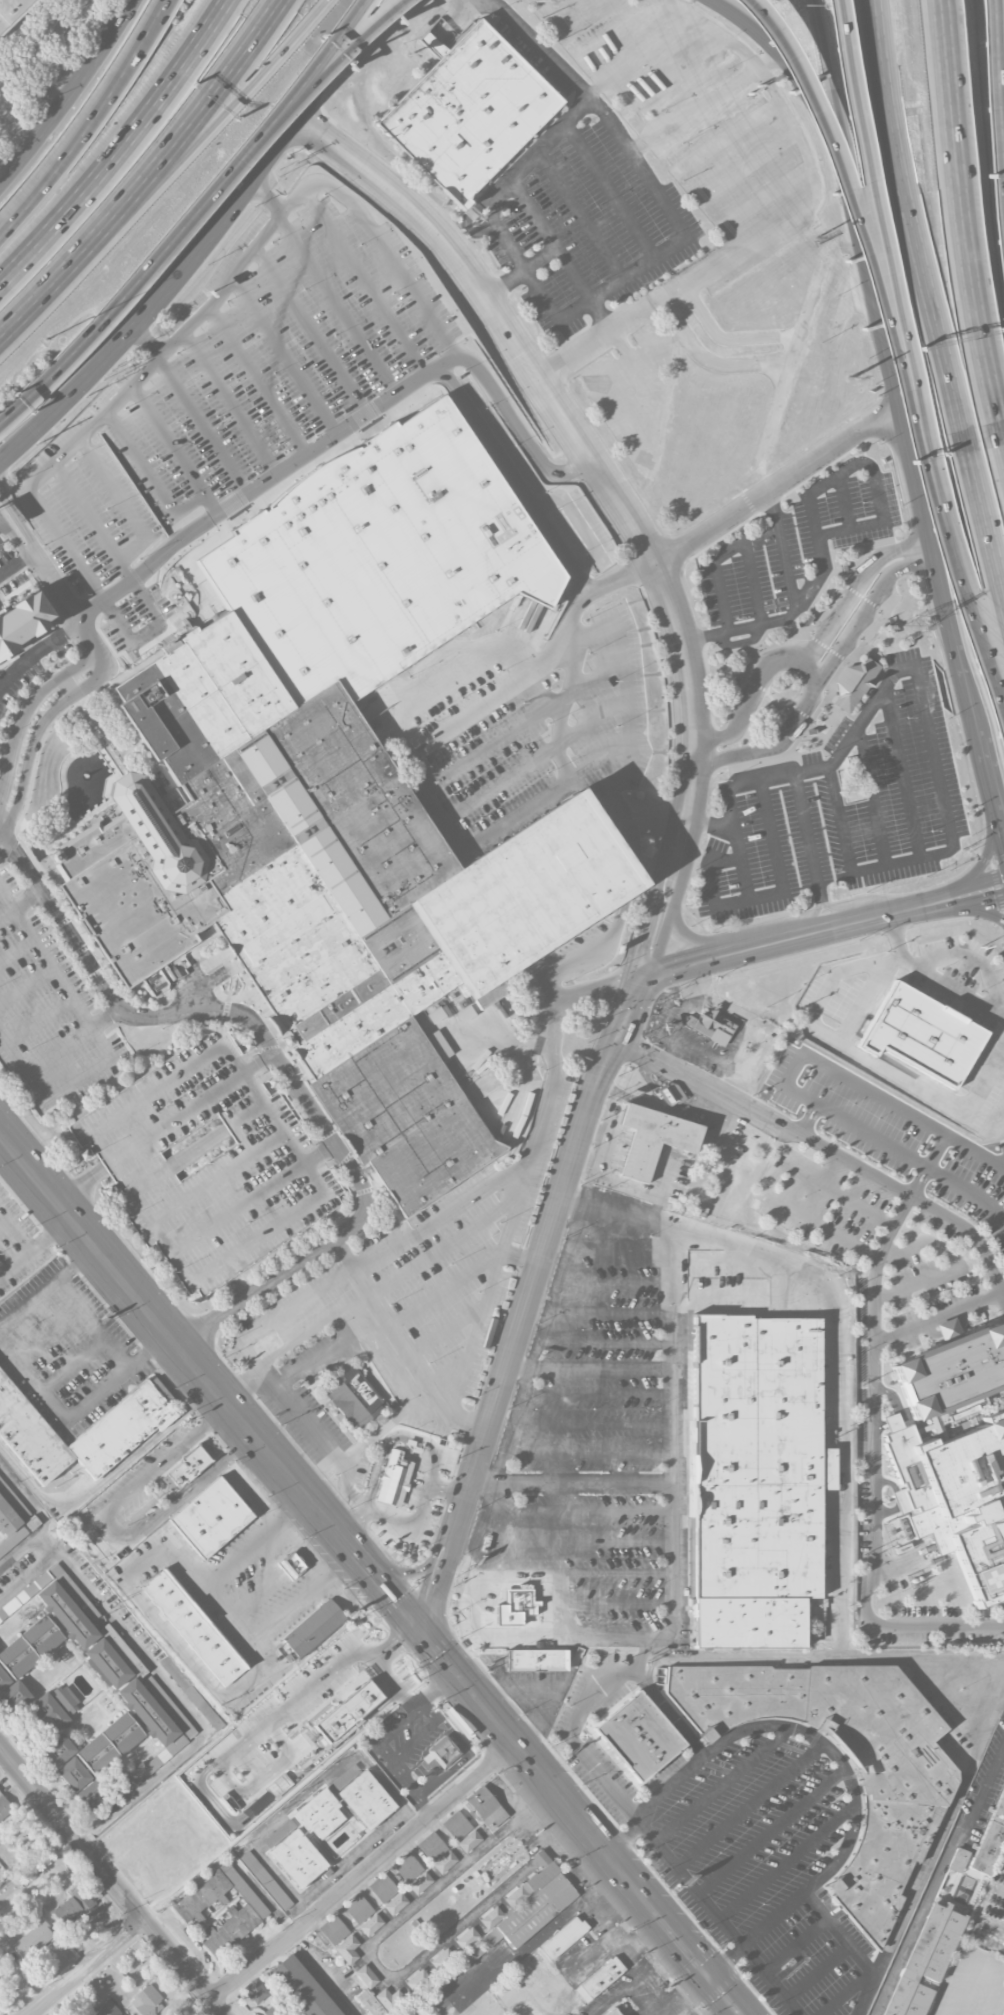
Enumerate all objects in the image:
power tower: (538, 1)
street lamp: (804, 5)
building: (11, 11)
road: (701, 19)
road: (608, 34)
road: (331, 38)
road: (348, 38)
road: (536, 46)
road: (654, 50)
road: (346, 53)
road: (336, 59)
road: (752, 63)
road: (664, 81)
road: (599, 87)
road: (998, 90)
road: (809, 91)
road: (68, 93)
road: (205, 101)
road: (230, 102)
road: (842, 105)
road: (695, 111)
building: (469, 114)
road: (90, 124)
road: (121, 146)
road: (636, 159)
road: (684, 163)
road: (838, 172)
road: (869, 179)
road: (610, 188)
road: (265, 195)
road: (204, 199)
road: (580, 214)
road: (968, 216)
road: (914, 227)
road: (550, 239)
road: (743, 257)
road: (65, 268)
road: (521, 273)
road: (818, 274)
road: (404, 278)
road: (365, 281)
road: (156, 298)
road: (335, 302)
road: (601, 313)
street lamp: (1002, 317)
road: (310, 329)
road: (794, 335)
street lamp: (45, 340)
road: (145, 342)
road: (670, 344)
road: (284, 354)
road: (893, 360)
road: (143, 370)
road: (51, 372)
power tower: (848, 379)
road: (258, 380)
parking lot: (226, 395)
road: (549, 395)
road: (231, 401)
road: (777, 404)
road: (203, 424)
road: (516, 428)
road: (174, 448)
road: (860, 460)
road: (276, 474)
road: (150, 475)
road: (931, 475)
road: (511, 476)
road: (778, 482)
road: (123, 501)
road: (845, 501)
road: (9, 505)
road: (92, 520)
road: (986, 524)
road: (14, 540)
road: (735, 546)
road: (781, 548)
road: (935, 548)
building: (378, 557)
road: (16, 565)
road: (620, 576)
road: (865, 576)
road: (872, 600)
road: (65, 603)
road: (91, 612)
road: (570, 619)
building: (22, 622)
road: (764, 622)
power tower: (912, 629)
road: (147, 630)
road: (38, 651)
road: (984, 653)
road: (564, 656)
road: (559, 661)
road: (102, 662)
road: (574, 664)
road: (962, 665)
road: (814, 669)
road: (467, 671)
road: (522, 673)
building: (853, 684)
road: (752, 696)
road: (924, 698)
road: (560, 708)
road: (28, 712)
parking lot: (525, 718)
road: (590, 722)
road: (34, 742)
road: (772, 748)
road: (477, 752)
road: (694, 752)
road: (600, 756)
road: (903, 771)
road: (989, 776)
road: (587, 787)
road: (690, 791)
road: (483, 793)
road: (602, 793)
road: (872, 794)
road: (1001, 815)
road: (505, 824)
road: (1001, 825)
road: (2, 829)
road: (808, 836)
road: (776, 852)
road: (686, 860)
road: (987, 860)
road: (627, 878)
road: (959, 889)
building: (324, 890)
road: (652, 896)
traffic signals: (997, 899)
road: (20, 902)
road: (978, 903)
road: (727, 904)
road: (936, 908)
road: (839, 911)
road: (979, 912)
road: (810, 919)
road: (835, 928)
road: (663, 940)
road: (702, 944)
road: (16, 950)
road: (589, 954)
road: (703, 962)
traffic signals: (653, 975)
road: (640, 978)
traffic signals: (627, 981)
road: (26, 985)
road: (953, 986)
road: (592, 988)
parking lot: (48, 1012)
road: (40, 1020)
building: (713, 1027)
road: (610, 1032)
road: (631, 1033)
building: (919, 1033)
road: (72, 1040)
road: (103, 1040)
road: (843, 1043)
road: (283, 1066)
road: (190, 1106)
building: (652, 1137)
road: (870, 1137)
road: (822, 1149)
road: (178, 1160)
building: (207, 1162)
parking garage: (207, 1162)
road: (110, 1163)
road: (216, 1177)
road: (81, 1187)
road: (251, 1197)
road: (514, 1208)
road: (443, 1212)
road: (15, 1233)
road: (35, 1249)
road: (518, 1260)
road: (946, 1261)
road: (232, 1281)
parking lot: (425, 1281)
road: (47, 1288)
road: (1003, 1295)
road: (670, 1297)
road: (381, 1312)
road: (519, 1313)
road: (939, 1319)
road: (94, 1322)
road: (474, 1336)
road: (177, 1346)
road: (328, 1351)
building: (952, 1371)
road: (241, 1385)
road: (836, 1387)
building: (353, 1395)
road: (75, 1410)
road: (395, 1414)
road: (303, 1421)
building: (124, 1424)
road: (467, 1424)
road: (385, 1447)
building: (185, 1468)
road: (876, 1473)
road: (107, 1477)
building: (394, 1479)
building: (755, 1480)
road: (672, 1482)
road: (447, 1491)
road: (342, 1499)
building: (965, 1502)
parking lot: (418, 1506)
road: (420, 1514)
building: (210, 1517)
road: (46, 1519)
building: (11, 1523)
building: (30, 1523)
road: (111, 1523)
road: (354, 1524)
building: (291, 1564)
road: (407, 1573)
helipad: (984, 1581)
road: (435, 1588)
road: (388, 1595)
building: (518, 1601)
building: (57, 1605)
road: (227, 1612)
building: (194, 1625)
building: (314, 1628)
traffic signals: (421, 1631)
road: (617, 1637)
road: (171, 1639)
building: (536, 1659)
building: (23, 1660)
road: (338, 1676)
road: (165, 1677)
building: (298, 1682)
road: (436, 1692)
building: (191, 1694)
building: (134, 1697)
road: (993, 1699)
building: (53, 1707)
building: (348, 1712)
road: (342, 1714)
building: (180, 1719)
building: (351, 1734)
building: (637, 1736)
building: (445, 1753)
building: (92, 1758)
road: (839, 1758)
road: (387, 1759)
road: (674, 1784)
building: (362, 1795)
road: (302, 1797)
building: (902, 1801)
building: (4, 1807)
building: (486, 1808)
building: (318, 1814)
road: (579, 1823)
building: (456, 1826)
building: (469, 1841)
building: (991, 1842)
building: (432, 1846)
building: (293, 1853)
road: (351, 1855)
road: (680, 1858)
building: (958, 1860)
building: (444, 1862)
road: (364, 1873)
building: (265, 1880)
road: (111, 1883)
building: (382, 1888)
building: (395, 1904)
building: (529, 1904)
building: (71, 1907)
building: (188, 1908)
building: (363, 1915)
road: (777, 1916)
building: (333, 1930)
road: (383, 1932)
building: (563, 1937)
building: (466, 1938)
building: (31, 1942)
building: (347, 1949)
road: (759, 1957)
building: (442, 1959)
building: (924, 1961)
road: (86, 1967)
road: (323, 1969)
building: (366, 1976)
traffic signals: (705, 1976)
building: (599, 1979)
building: (417, 1980)
road: (633, 1981)
building: (304, 1986)
road: (962, 1986)
building: (255, 1991)
building: (389, 2000)
building: (146, 2002)
building: (370, 2004)
road: (709, 2004)
building: (276, 2010)
building: (1002, 2011)
building: (612, 2012)
park: (47, 2014)

